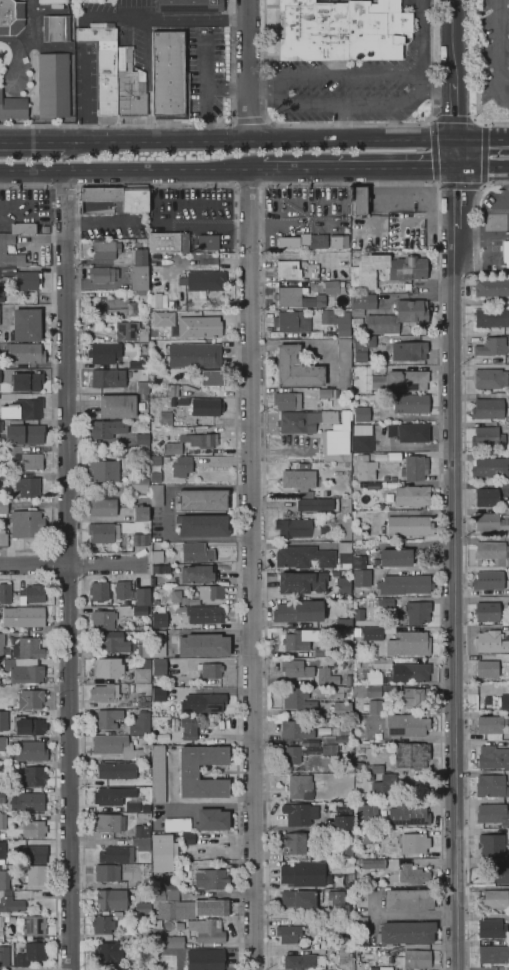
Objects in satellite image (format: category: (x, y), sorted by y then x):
building: (52, 2)
building: (189, 7)
road: (142, 16)
building: (11, 17)
road: (197, 23)
building: (56, 28)
building: (343, 30)
road: (419, 36)
road: (499, 52)
building: (103, 64)
road: (453, 68)
road: (248, 69)
road: (477, 75)
building: (168, 76)
road: (504, 76)
building: (53, 85)
building: (129, 85)
road: (204, 86)
road: (226, 88)
road: (263, 89)
road: (435, 90)
road: (85, 98)
road: (508, 102)
road: (278, 104)
building: (12, 108)
road: (248, 121)
road: (344, 121)
road: (176, 124)
road: (347, 124)
road: (482, 136)
traffic signals: (456, 137)
road: (297, 138)
road: (400, 138)
road: (156, 139)
road: (32, 141)
road: (457, 153)
road: (359, 170)
traffic signals: (459, 170)
road: (484, 170)
road: (130, 173)
road: (438, 184)
road: (90, 185)
road: (248, 185)
road: (64, 186)
building: (101, 193)
building: (134, 198)
road: (458, 199)
building: (358, 200)
building: (100, 206)
road: (499, 209)
building: (22, 227)
road: (483, 233)
building: (318, 240)
building: (305, 241)
building: (339, 241)
building: (164, 242)
building: (184, 242)
building: (208, 242)
building: (288, 242)
building: (3, 249)
building: (104, 250)
building: (505, 252)
building: (140, 257)
building: (288, 269)
building: (386, 270)
building: (103, 274)
building: (138, 277)
building: (203, 280)
building: (28, 281)
building: (331, 287)
building: (492, 287)
building: (2, 293)
building: (141, 295)
building: (294, 297)
building: (362, 303)
building: (117, 308)
building: (398, 317)
building: (491, 317)
building: (291, 321)
building: (337, 321)
building: (357, 322)
building: (26, 324)
building: (188, 324)
building: (130, 332)
building: (492, 346)
building: (363, 347)
building: (409, 350)
building: (103, 352)
building: (22, 353)
building: (193, 355)
building: (344, 363)
building: (138, 364)
building: (296, 368)
road: (52, 370)
building: (0, 376)
building: (108, 378)
building: (210, 378)
building: (491, 378)
building: (401, 380)
building: (27, 382)
building: (142, 387)
building: (172, 389)
building: (328, 393)
building: (183, 401)
building: (287, 401)
building: (411, 403)
building: (117, 406)
building: (206, 407)
building: (23, 409)
building: (488, 409)
building: (362, 414)
building: (166, 418)
building: (306, 420)
building: (106, 428)
building: (408, 432)
building: (23, 433)
building: (487, 437)
building: (362, 438)
building: (142, 439)
building: (337, 440)
building: (193, 442)
building: (10, 449)
building: (122, 452)
building: (166, 459)
building: (27, 461)
building: (155, 461)
building: (181, 466)
building: (491, 467)
building: (365, 468)
building: (415, 468)
building: (103, 471)
building: (3, 475)
building: (386, 478)
building: (393, 478)
building: (298, 479)
building: (349, 480)
building: (139, 482)
building: (28, 486)
building: (121, 490)
building: (156, 494)
building: (310, 494)
building: (409, 495)
building: (486, 497)
building: (202, 500)
building: (316, 504)
building: (348, 504)
building: (103, 506)
building: (3, 507)
building: (140, 513)
building: (26, 523)
building: (491, 523)
building: (202, 525)
building: (409, 526)
building: (298, 528)
building: (366, 529)
building: (103, 532)
road: (439, 532)
road: (263, 534)
building: (357, 537)
building: (3, 538)
building: (141, 539)
building: (359, 545)
building: (196, 552)
building: (345, 552)
building: (493, 552)
road: (81, 553)
building: (158, 556)
building: (304, 557)
building: (395, 557)
road: (465, 559)
building: (360, 562)
road: (72, 564)
building: (161, 569)
road: (250, 571)
road: (69, 572)
building: (336, 572)
building: (197, 574)
road: (26, 577)
building: (361, 577)
building: (489, 580)
building: (152, 581)
building: (302, 581)
building: (404, 584)
building: (343, 585)
building: (123, 590)
building: (99, 591)
building: (5, 593)
building: (211, 593)
building: (354, 593)
building: (32, 594)
building: (142, 596)
road: (455, 599)
building: (155, 602)
building: (386, 602)
building: (140, 610)
building: (299, 611)
building: (487, 611)
building: (418, 612)
building: (204, 614)
building: (24, 616)
building: (103, 620)
building: (159, 620)
building: (343, 623)
building: (356, 631)
building: (400, 640)
building: (295, 641)
building: (112, 642)
building: (490, 642)
building: (158, 643)
building: (1, 645)
building: (203, 645)
building: (29, 648)
building: (144, 650)
building: (321, 653)
building: (382, 663)
building: (157, 667)
building: (106, 668)
building: (487, 668)
building: (210, 669)
building: (23, 672)
building: (142, 672)
building: (308, 672)
building: (411, 672)
building: (372, 677)
building: (390, 687)
building: (367, 691)
building: (104, 693)
building: (159, 694)
building: (329, 697)
building: (415, 697)
building: (31, 699)
building: (143, 701)
building: (504, 701)
building: (203, 703)
building: (375, 706)
building: (342, 709)
building: (108, 718)
building: (508, 720)
building: (3, 721)
building: (322, 721)
building: (140, 723)
building: (407, 725)
building: (492, 726)
building: (30, 727)
building: (189, 727)
building: (295, 730)
building: (339, 730)
building: (328, 739)
building: (2, 743)
building: (118, 746)
building: (349, 746)
building: (329, 749)
building: (30, 751)
building: (293, 753)
building: (411, 754)
building: (493, 757)
building: (10, 765)
building: (361, 768)
building: (378, 769)
building: (117, 770)
road: (55, 772)
building: (188, 772)
building: (158, 774)
building: (32, 776)
building: (385, 784)
building: (491, 785)
building: (303, 787)
building: (2, 795)
building: (112, 796)
building: (29, 802)
building: (139, 802)
building: (368, 811)
building: (300, 813)
building: (409, 814)
building: (493, 814)
building: (342, 819)
building: (2, 820)
building: (200, 821)
building: (108, 823)
building: (34, 829)
building: (142, 831)
building: (369, 835)
building: (187, 838)
building: (141, 843)
building: (414, 843)
building: (293, 844)
building: (491, 845)
building: (346, 849)
building: (163, 852)
building: (33, 853)
building: (117, 854)
building: (373, 863)
building: (4, 865)
building: (185, 865)
building: (107, 872)
building: (502, 873)
building: (37, 874)
building: (303, 874)
building: (412, 875)
building: (211, 878)
building: (4, 879)
building: (146, 884)
building: (111, 899)
building: (298, 899)
building: (409, 899)
building: (494, 899)
building: (10, 902)
building: (338, 903)
building: (185, 904)
building: (142, 908)
building: (102, 924)
building: (34, 925)
building: (179, 926)
building: (491, 928)
building: (1, 929)
building: (206, 930)
building: (406, 932)
building: (141, 934)
building: (289, 934)
building: (165, 938)
building: (362, 939)
building: (21, 945)
building: (109, 951)
building: (30, 953)
building: (493, 954)
building: (4, 956)
building: (345, 958)
building: (206, 959)
building: (414, 959)
building: (304, 961)
road: (71, 967)
road: (56, 969)

